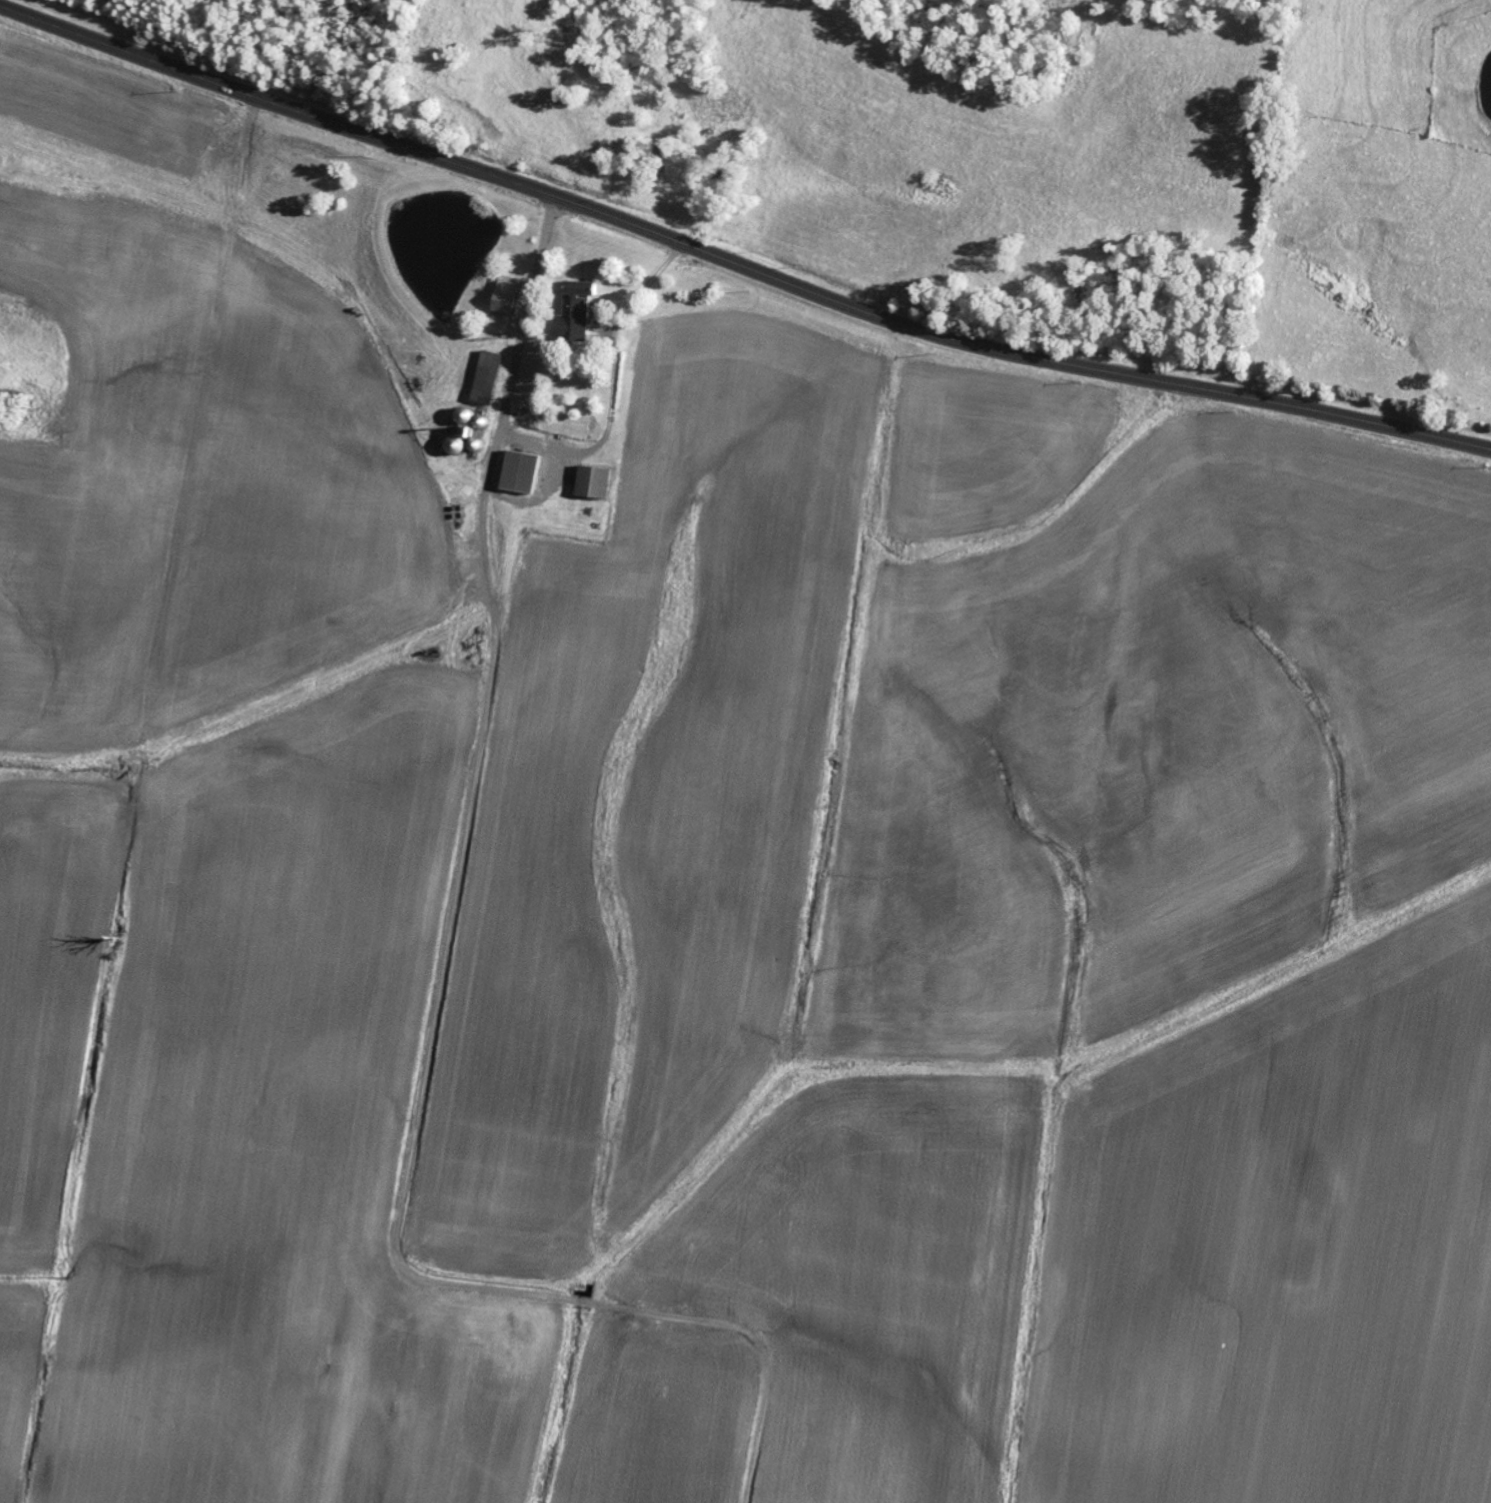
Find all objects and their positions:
road: (735, 265)
building: (486, 378)
building: (520, 474)
building: (593, 484)
road: (438, 995)

